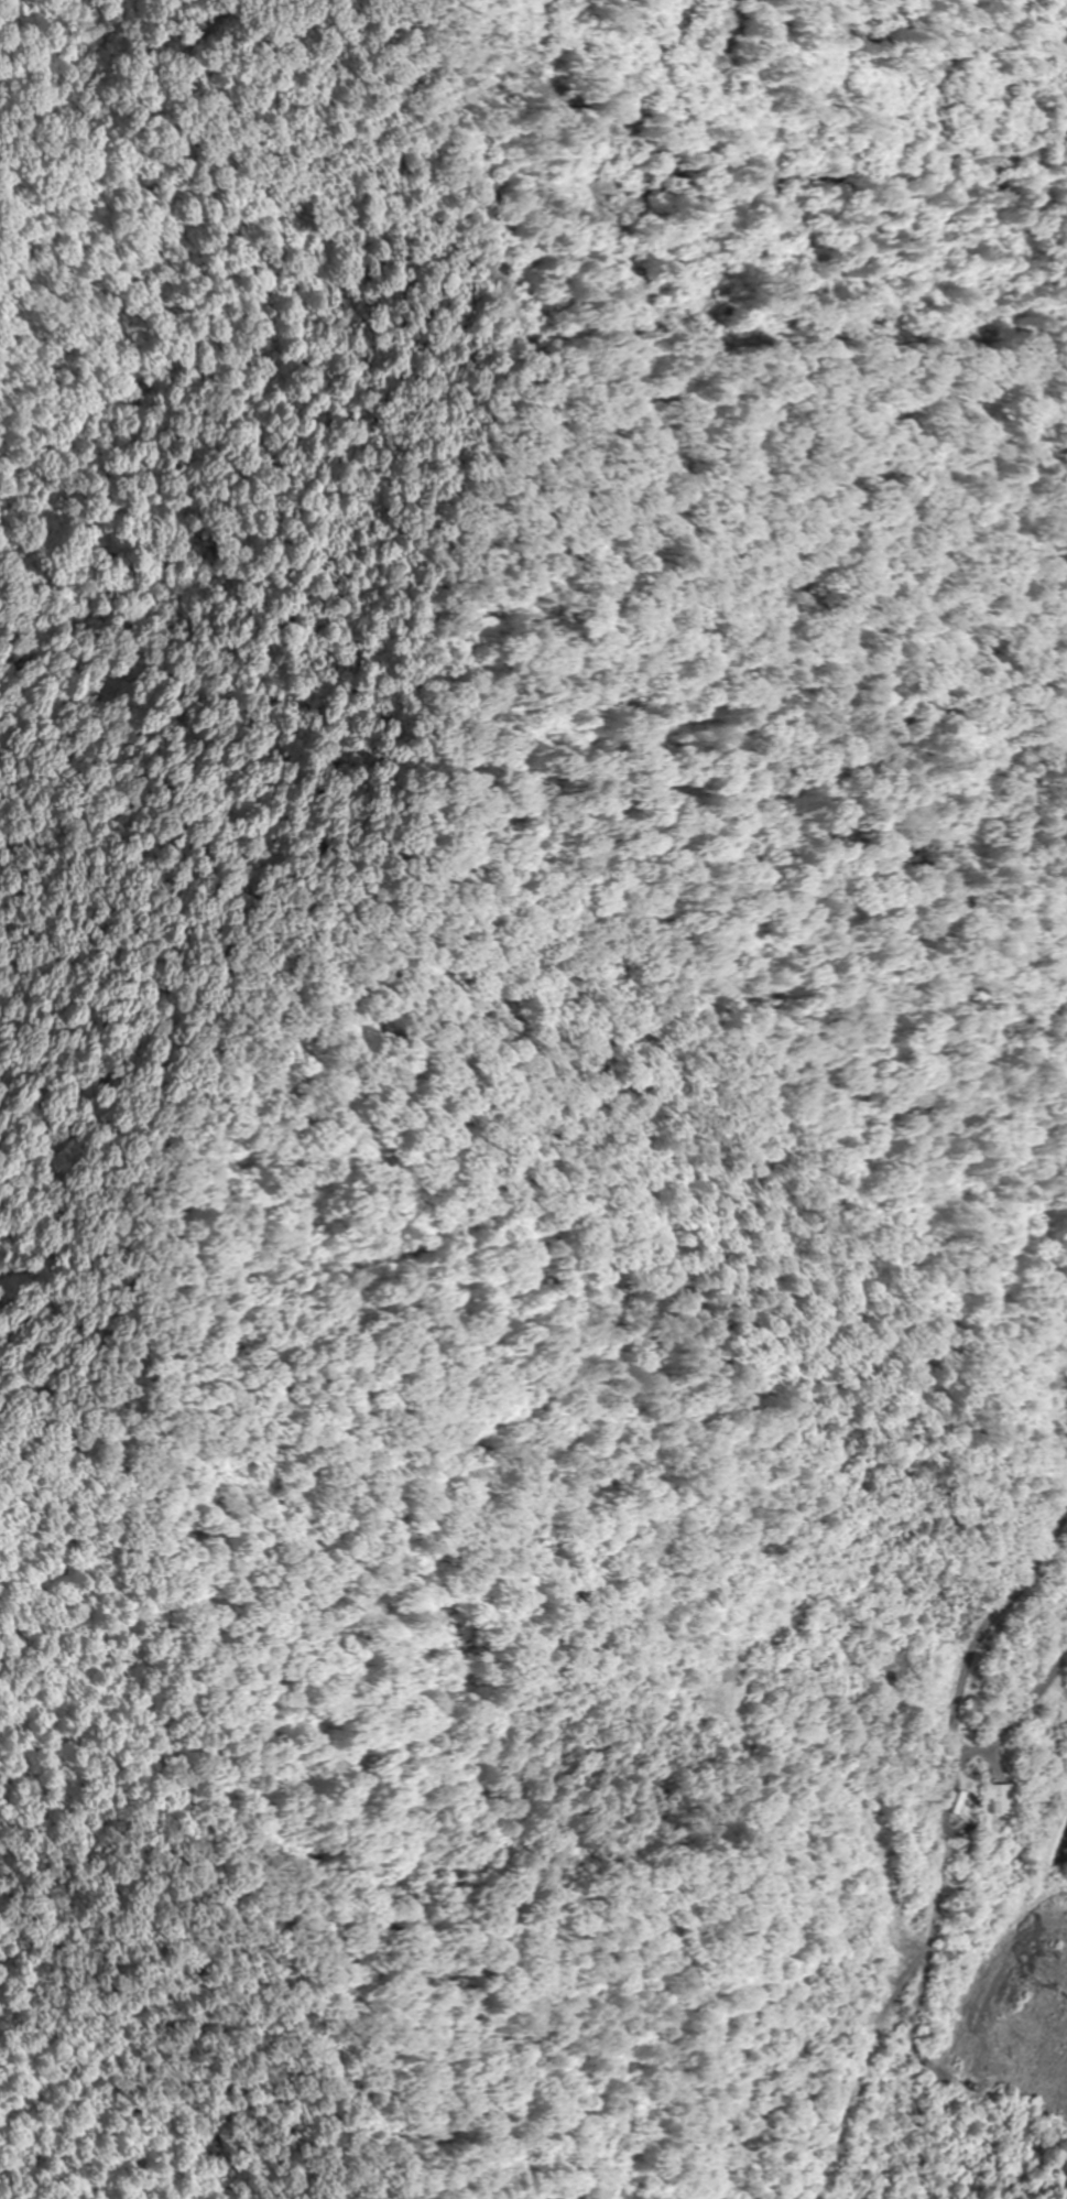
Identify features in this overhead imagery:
road: (1037, 1694)
building: (1002, 1799)

